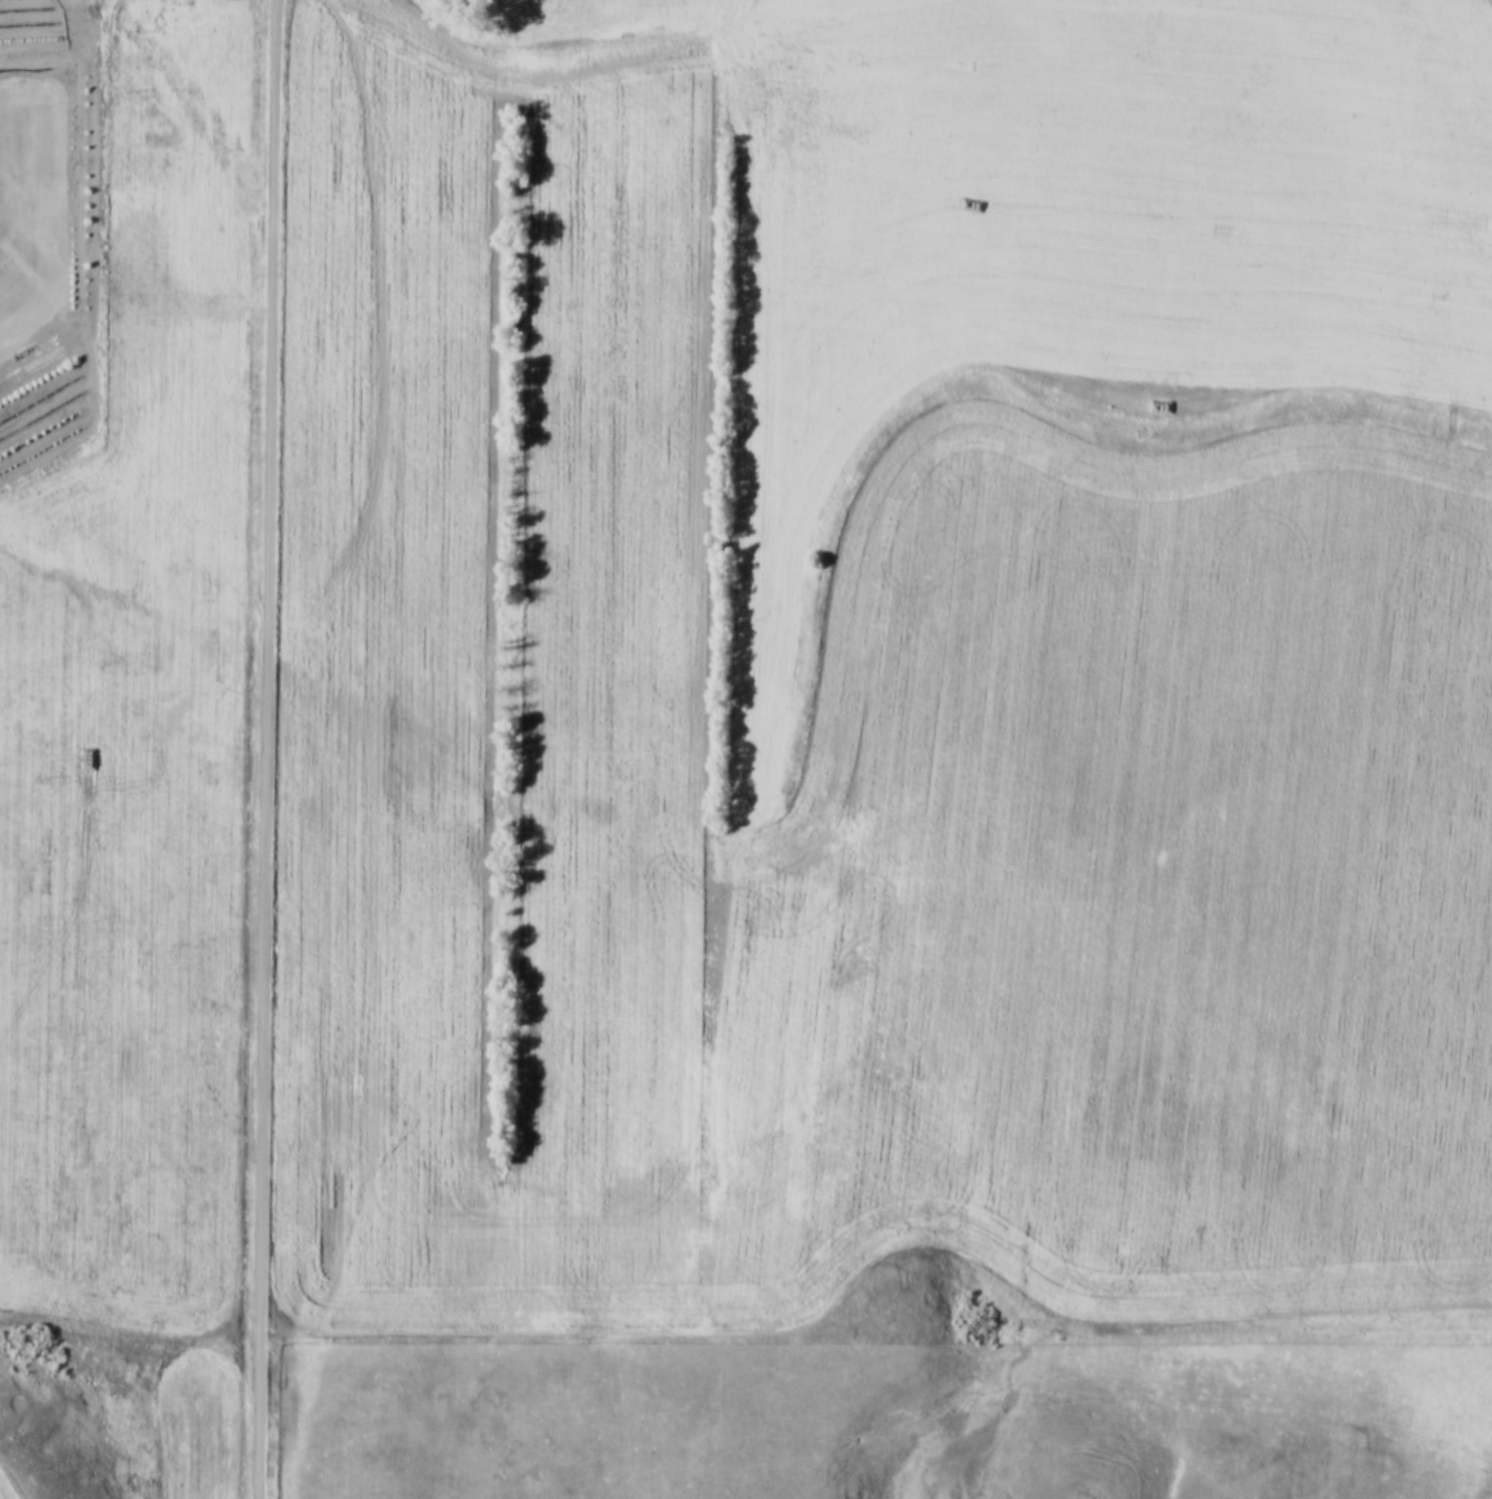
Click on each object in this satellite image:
road: (574, 79)
road: (267, 749)
road: (14, 1478)

